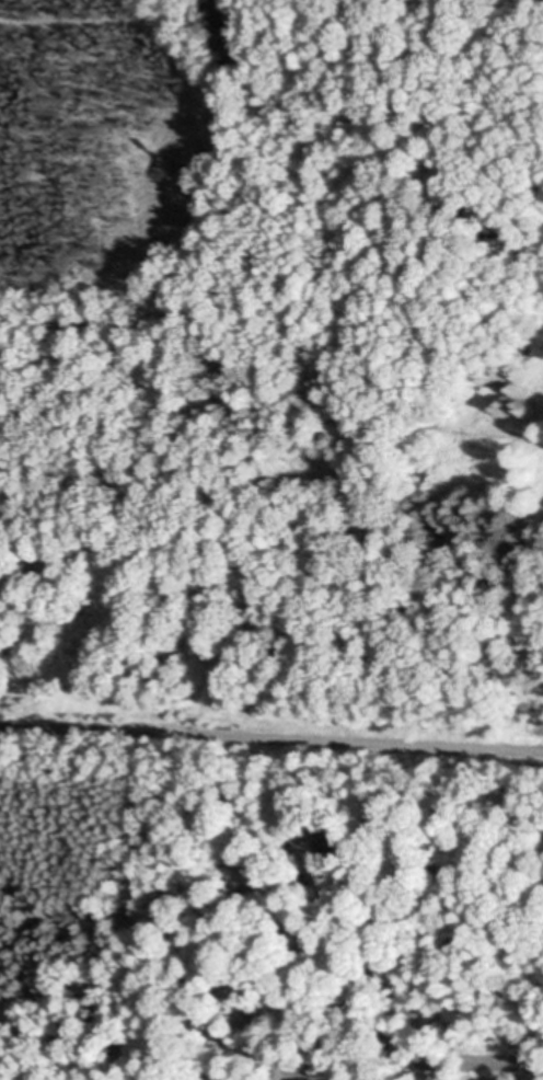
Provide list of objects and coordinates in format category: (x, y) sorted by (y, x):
road: (271, 740)

